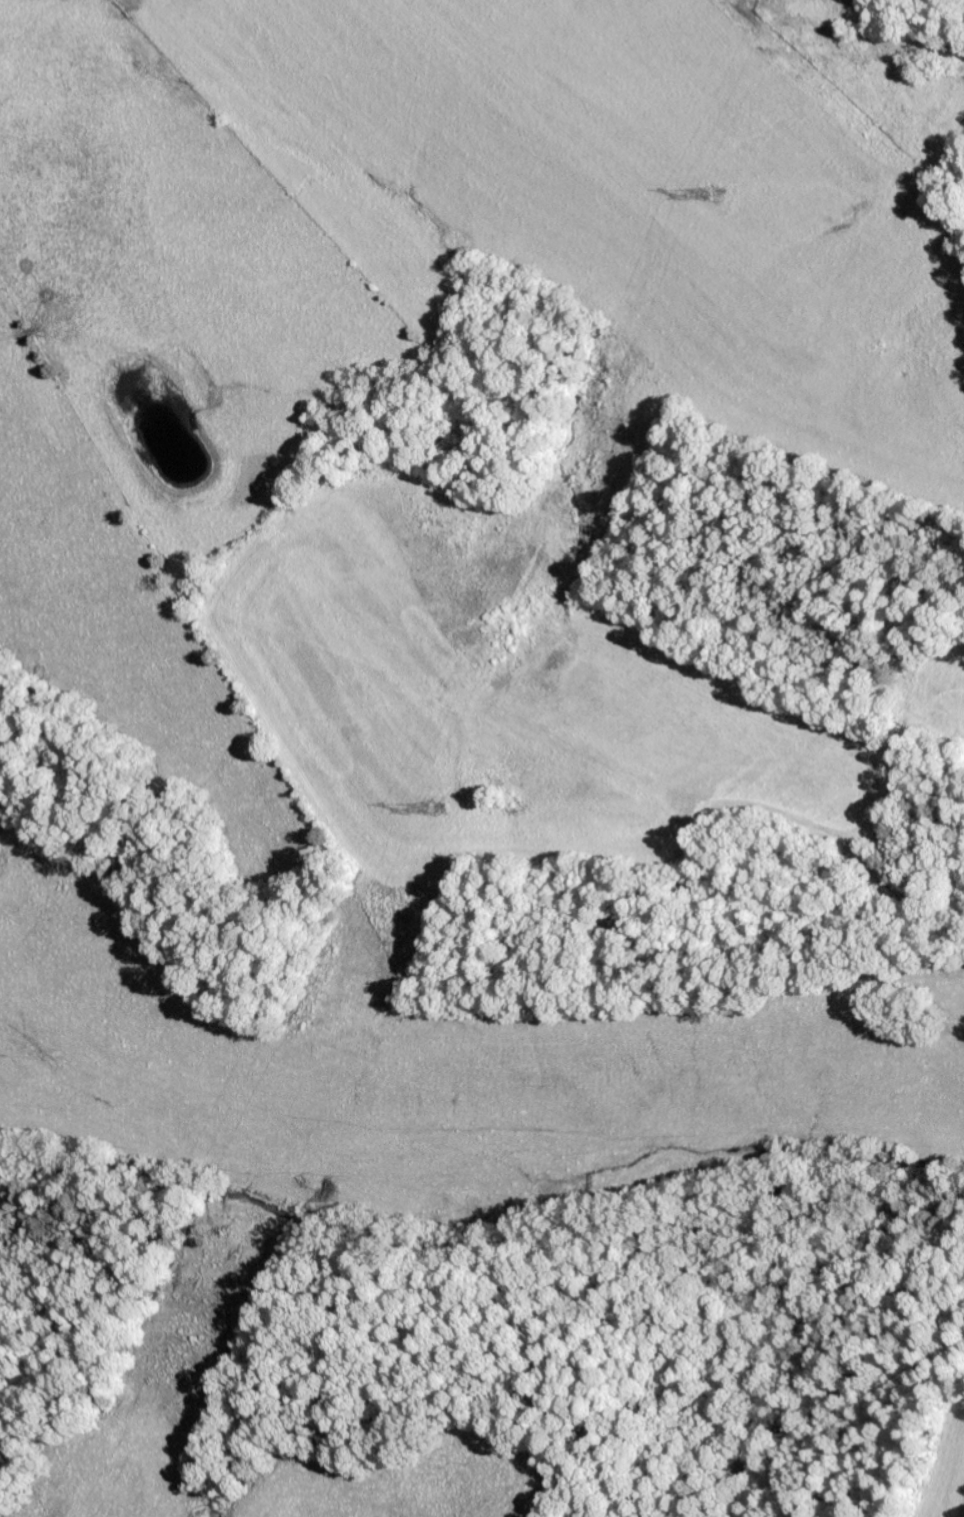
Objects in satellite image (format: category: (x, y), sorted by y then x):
power tower: (715, 194)
power tower: (437, 808)

